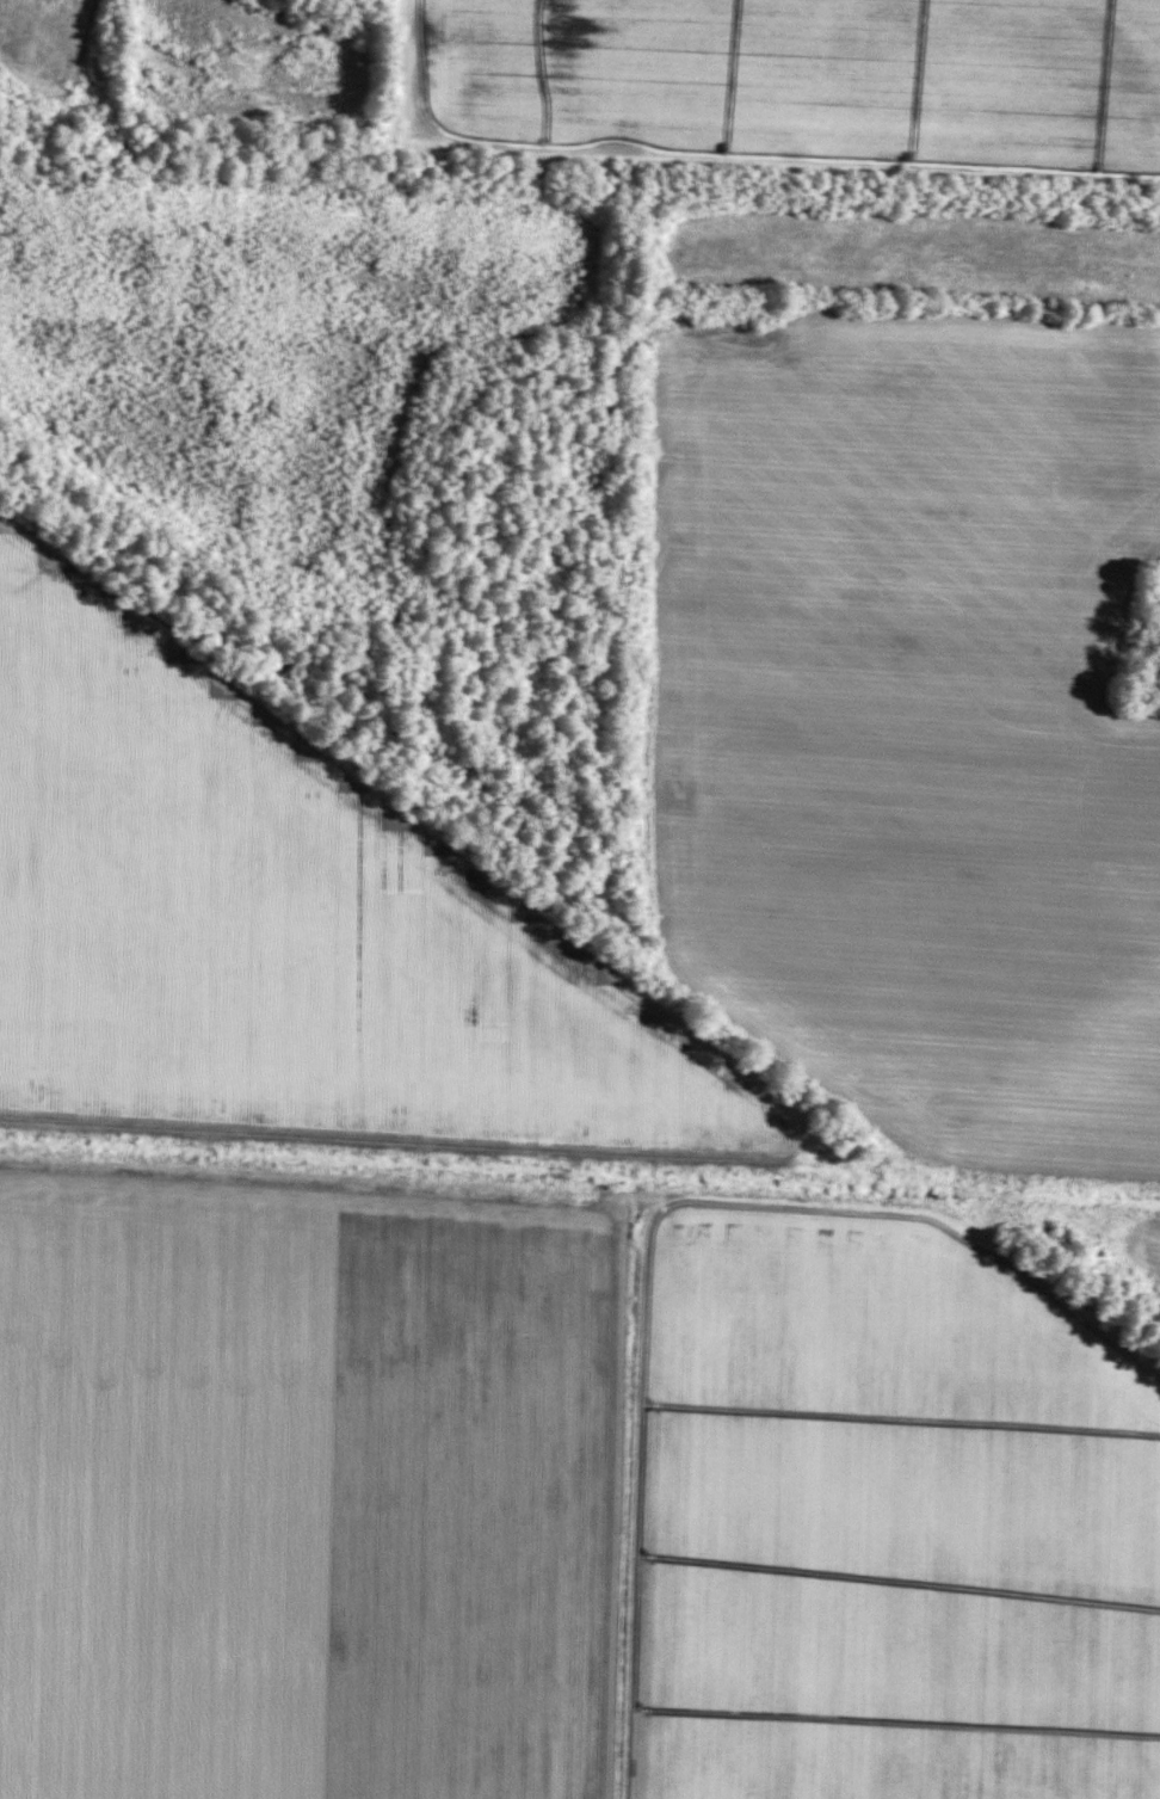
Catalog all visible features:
road: (607, 1200)

